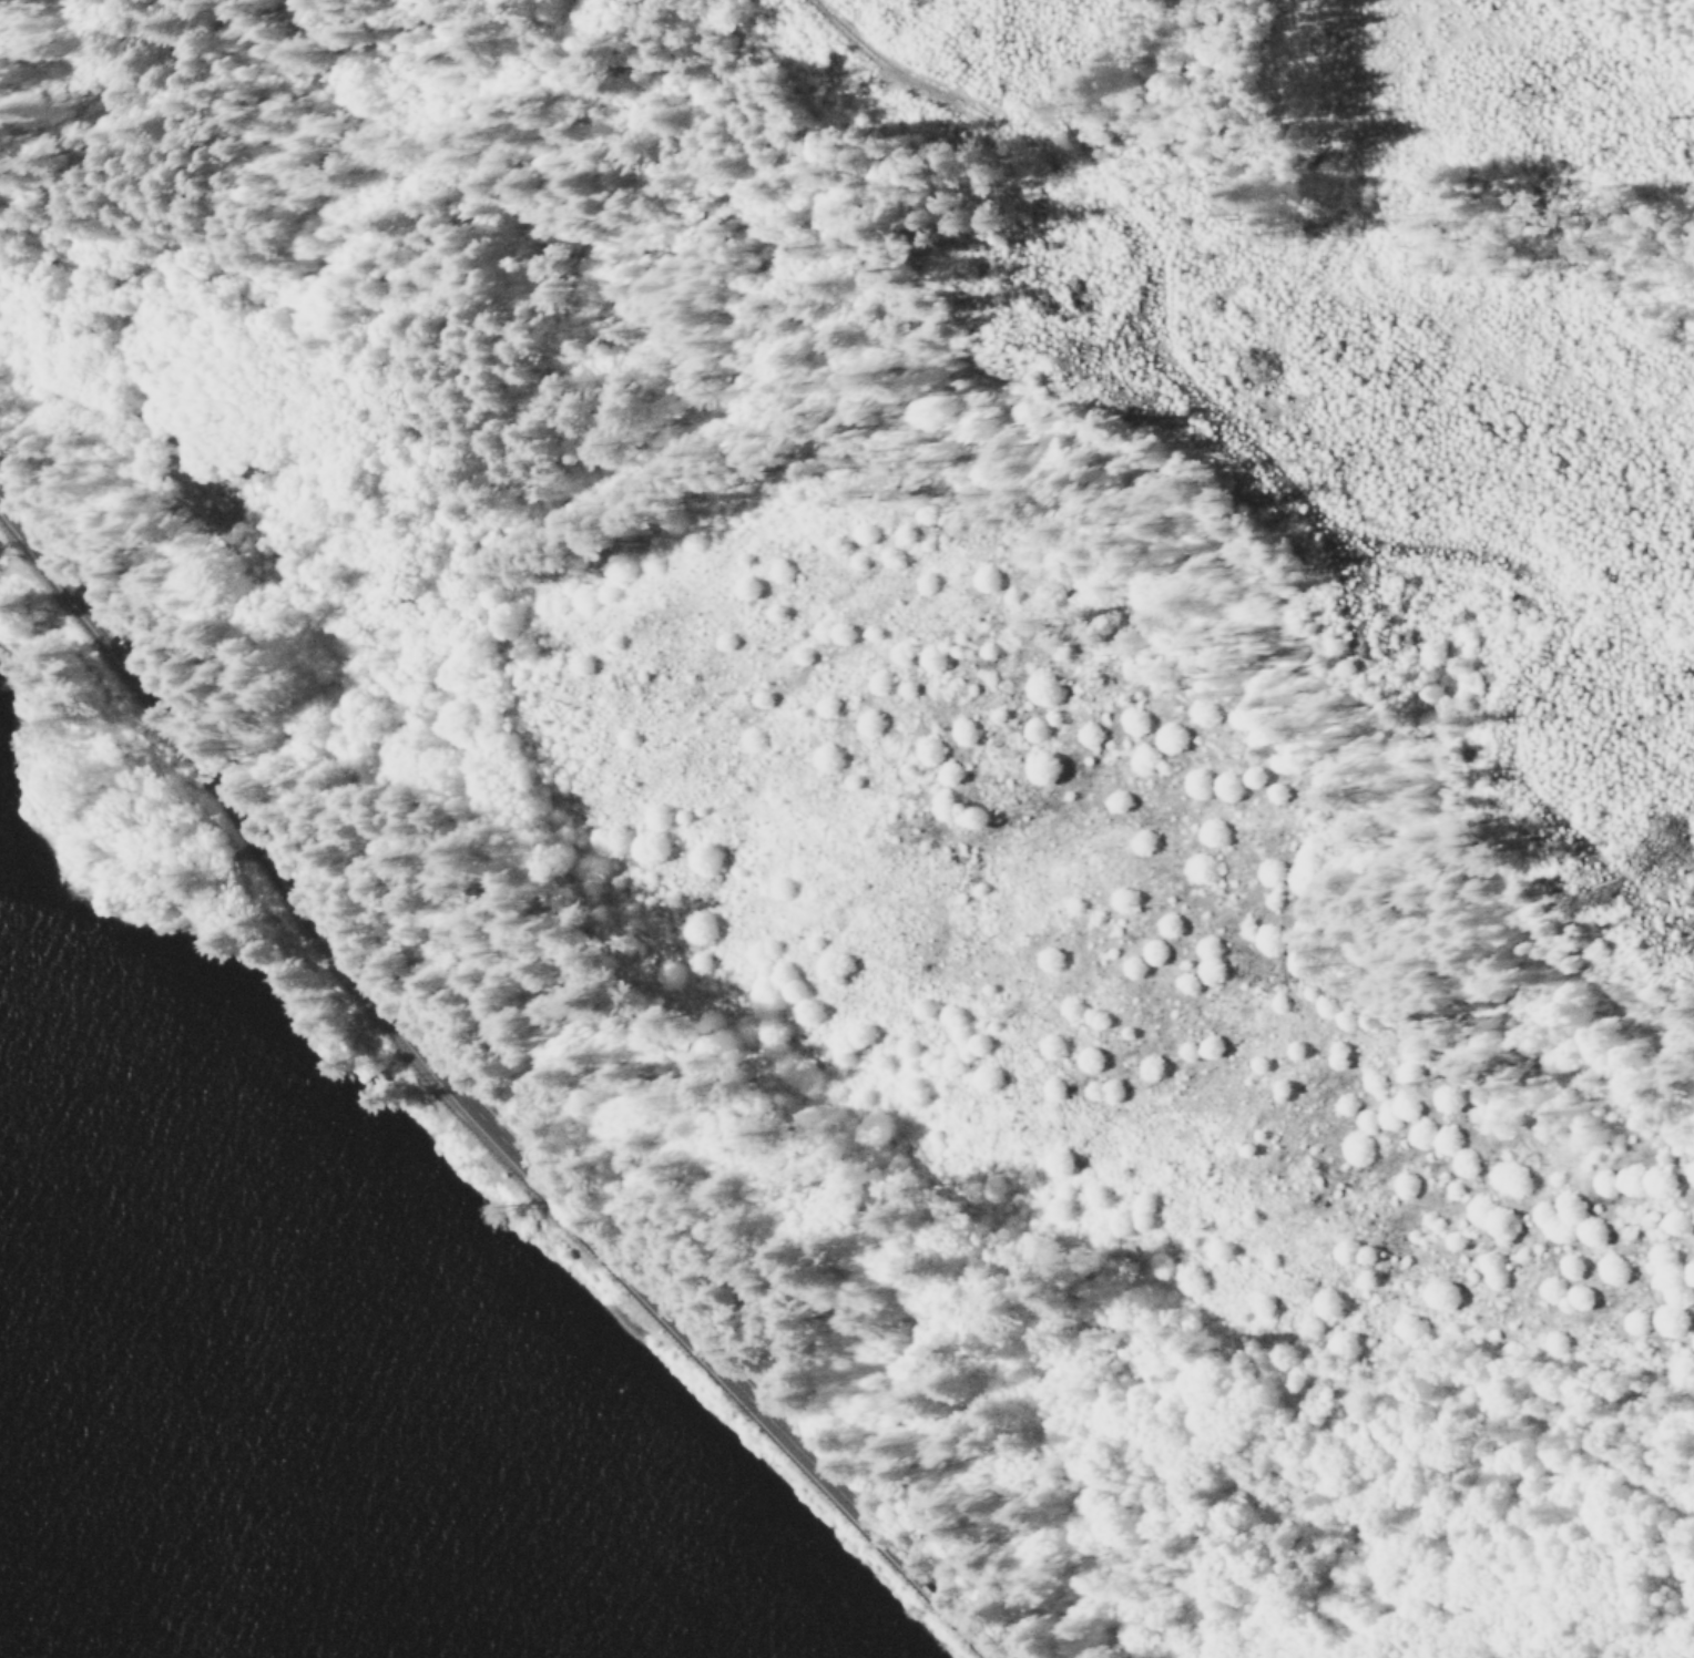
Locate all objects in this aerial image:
road: (466, 1112)

